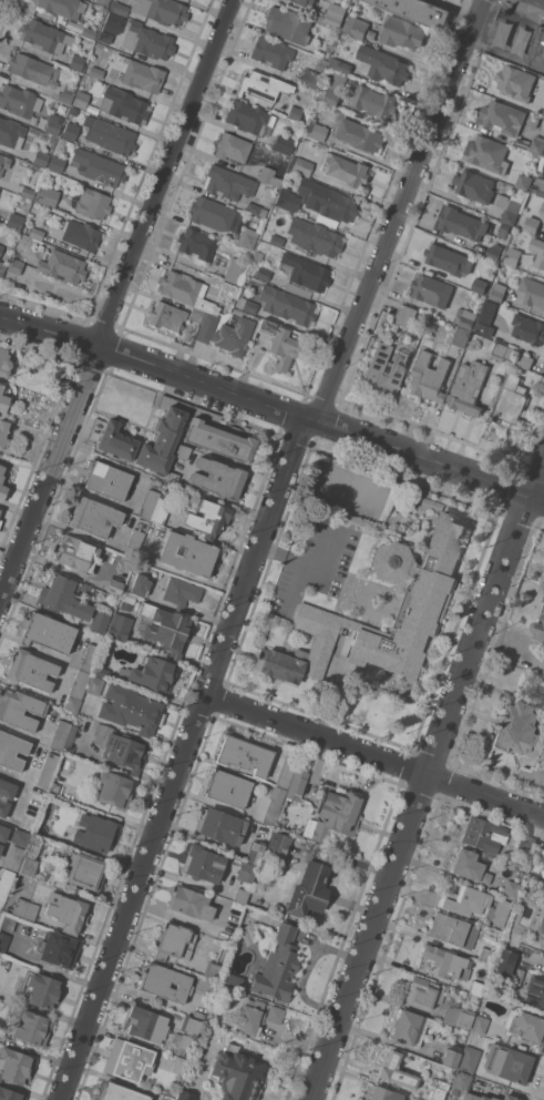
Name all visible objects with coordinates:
building: (103, 1)
building: (306, 2)
building: (64, 7)
building: (120, 8)
building: (161, 10)
building: (419, 11)
building: (335, 13)
building: (113, 21)
building: (287, 24)
building: (356, 27)
building: (89, 32)
building: (402, 32)
building: (45, 37)
building: (147, 40)
building: (537, 44)
building: (271, 52)
building: (76, 61)
building: (339, 64)
building: (383, 64)
building: (319, 65)
building: (32, 69)
building: (96, 72)
building: (138, 73)
building: (311, 79)
building: (338, 81)
building: (514, 83)
building: (261, 85)
building: (66, 93)
building: (329, 95)
building: (81, 99)
building: (19, 100)
building: (373, 101)
building: (124, 105)
building: (73, 110)
building: (295, 112)
building: (543, 115)
building: (246, 116)
building: (502, 118)
building: (533, 120)
building: (53, 124)
building: (70, 131)
building: (316, 131)
building: (11, 133)
building: (360, 134)
building: (110, 135)
building: (522, 142)
building: (283, 144)
building: (537, 145)
building: (233, 147)
building: (487, 153)
building: (41, 157)
building: (3, 162)
building: (57, 163)
building: (301, 165)
building: (97, 166)
building: (543, 169)
building: (345, 170)
building: (268, 176)
building: (228, 182)
building: (523, 182)
building: (474, 186)
building: (540, 186)
building: (28, 192)
building: (47, 195)
building: (318, 200)
building: (91, 203)
building: (256, 208)
building: (509, 208)
road: (397, 210)
building: (543, 211)
building: (214, 214)
building: (298, 218)
building: (14, 221)
building: (541, 222)
building: (460, 223)
building: (531, 224)
building: (503, 230)
building: (35, 233)
building: (78, 234)
building: (278, 235)
building: (247, 237)
building: (321, 240)
building: (196, 243)
building: (1, 248)
building: (537, 251)
building: (492, 253)
building: (258, 255)
building: (512, 256)
building: (449, 257)
building: (14, 266)
building: (62, 266)
building: (2, 268)
building: (235, 271)
building: (305, 271)
building: (263, 273)
building: (480, 285)
building: (298, 289)
building: (432, 289)
building: (185, 291)
building: (226, 291)
building: (497, 292)
building: (532, 293)
road: (115, 296)
building: (247, 305)
building: (287, 305)
building: (196, 314)
building: (406, 315)
building: (166, 316)
building: (468, 318)
building: (485, 318)
building: (206, 327)
building: (527, 329)
building: (233, 334)
building: (462, 337)
building: (280, 345)
building: (502, 352)
building: (525, 360)
building: (3, 363)
building: (384, 369)
building: (429, 377)
building: (469, 387)
building: (3, 399)
building: (511, 404)
road: (273, 405)
building: (3, 434)
building: (163, 435)
building: (218, 435)
building: (111, 438)
building: (183, 451)
building: (172, 478)
building: (217, 478)
building: (107, 480)
building: (2, 486)
building: (148, 503)
building: (0, 509)
building: (168, 510)
building: (93, 517)
building: (209, 518)
building: (0, 520)
building: (134, 542)
building: (76, 553)
building: (186, 553)
road: (301, 561)
building: (144, 567)
building: (141, 584)
building: (114, 585)
building: (181, 590)
building: (427, 591)
building: (65, 597)
building: (127, 600)
building: (100, 620)
building: (120, 627)
building: (164, 628)
building: (540, 630)
building: (47, 632)
building: (90, 658)
building: (31, 670)
building: (101, 671)
building: (153, 673)
building: (79, 683)
building: (94, 685)
building: (71, 703)
building: (19, 709)
building: (131, 709)
building: (522, 729)
building: (61, 734)
building: (121, 747)
building: (12, 751)
building: (243, 755)
road: (373, 755)
road: (182, 757)
building: (48, 770)
building: (286, 773)
building: (533, 775)
road: (422, 777)
building: (59, 781)
building: (297, 784)
building: (7, 788)
building: (228, 788)
building: (114, 790)
building: (274, 805)
building: (34, 806)
building: (3, 807)
building: (335, 814)
building: (280, 822)
building: (222, 826)
building: (95, 832)
building: (3, 833)
building: (483, 834)
building: (19, 837)
building: (526, 843)
building: (278, 846)
building: (1, 847)
building: (255, 853)
building: (13, 857)
building: (203, 863)
building: (28, 866)
building: (470, 866)
building: (543, 867)
building: (85, 872)
building: (246, 872)
building: (543, 877)
building: (4, 885)
building: (309, 889)
building: (511, 889)
building: (240, 896)
building: (465, 900)
building: (191, 903)
building: (23, 908)
building: (66, 911)
building: (501, 911)
building: (7, 923)
building: (543, 925)
building: (448, 928)
building: (543, 933)
building: (3, 941)
building: (174, 941)
building: (60, 949)
building: (480, 953)
building: (447, 961)
building: (503, 962)
building: (278, 964)
building: (213, 970)
building: (517, 976)
building: (230, 980)
building: (164, 982)
building: (204, 986)
building: (475, 988)
building: (535, 989)
building: (43, 990)
building: (423, 992)
building: (275, 1014)
building: (199, 1015)
building: (250, 1016)
building: (464, 1017)
building: (147, 1023)
building: (479, 1023)
building: (31, 1026)
building: (410, 1027)
building: (525, 1028)
building: (193, 1031)
building: (452, 1055)
building: (469, 1059)
building: (129, 1060)
building: (507, 1063)
building: (181, 1065)
building: (14, 1066)
building: (393, 1072)
building: (236, 1076)
building: (461, 1081)
building: (438, 1089)
building: (120, 1092)
building: (383, 1093)
building: (10, 1094)
building: (185, 1096)
building: (420, 1096)
building: (475, 1097)
building: (509, 1097)
building: (167, 1098)

